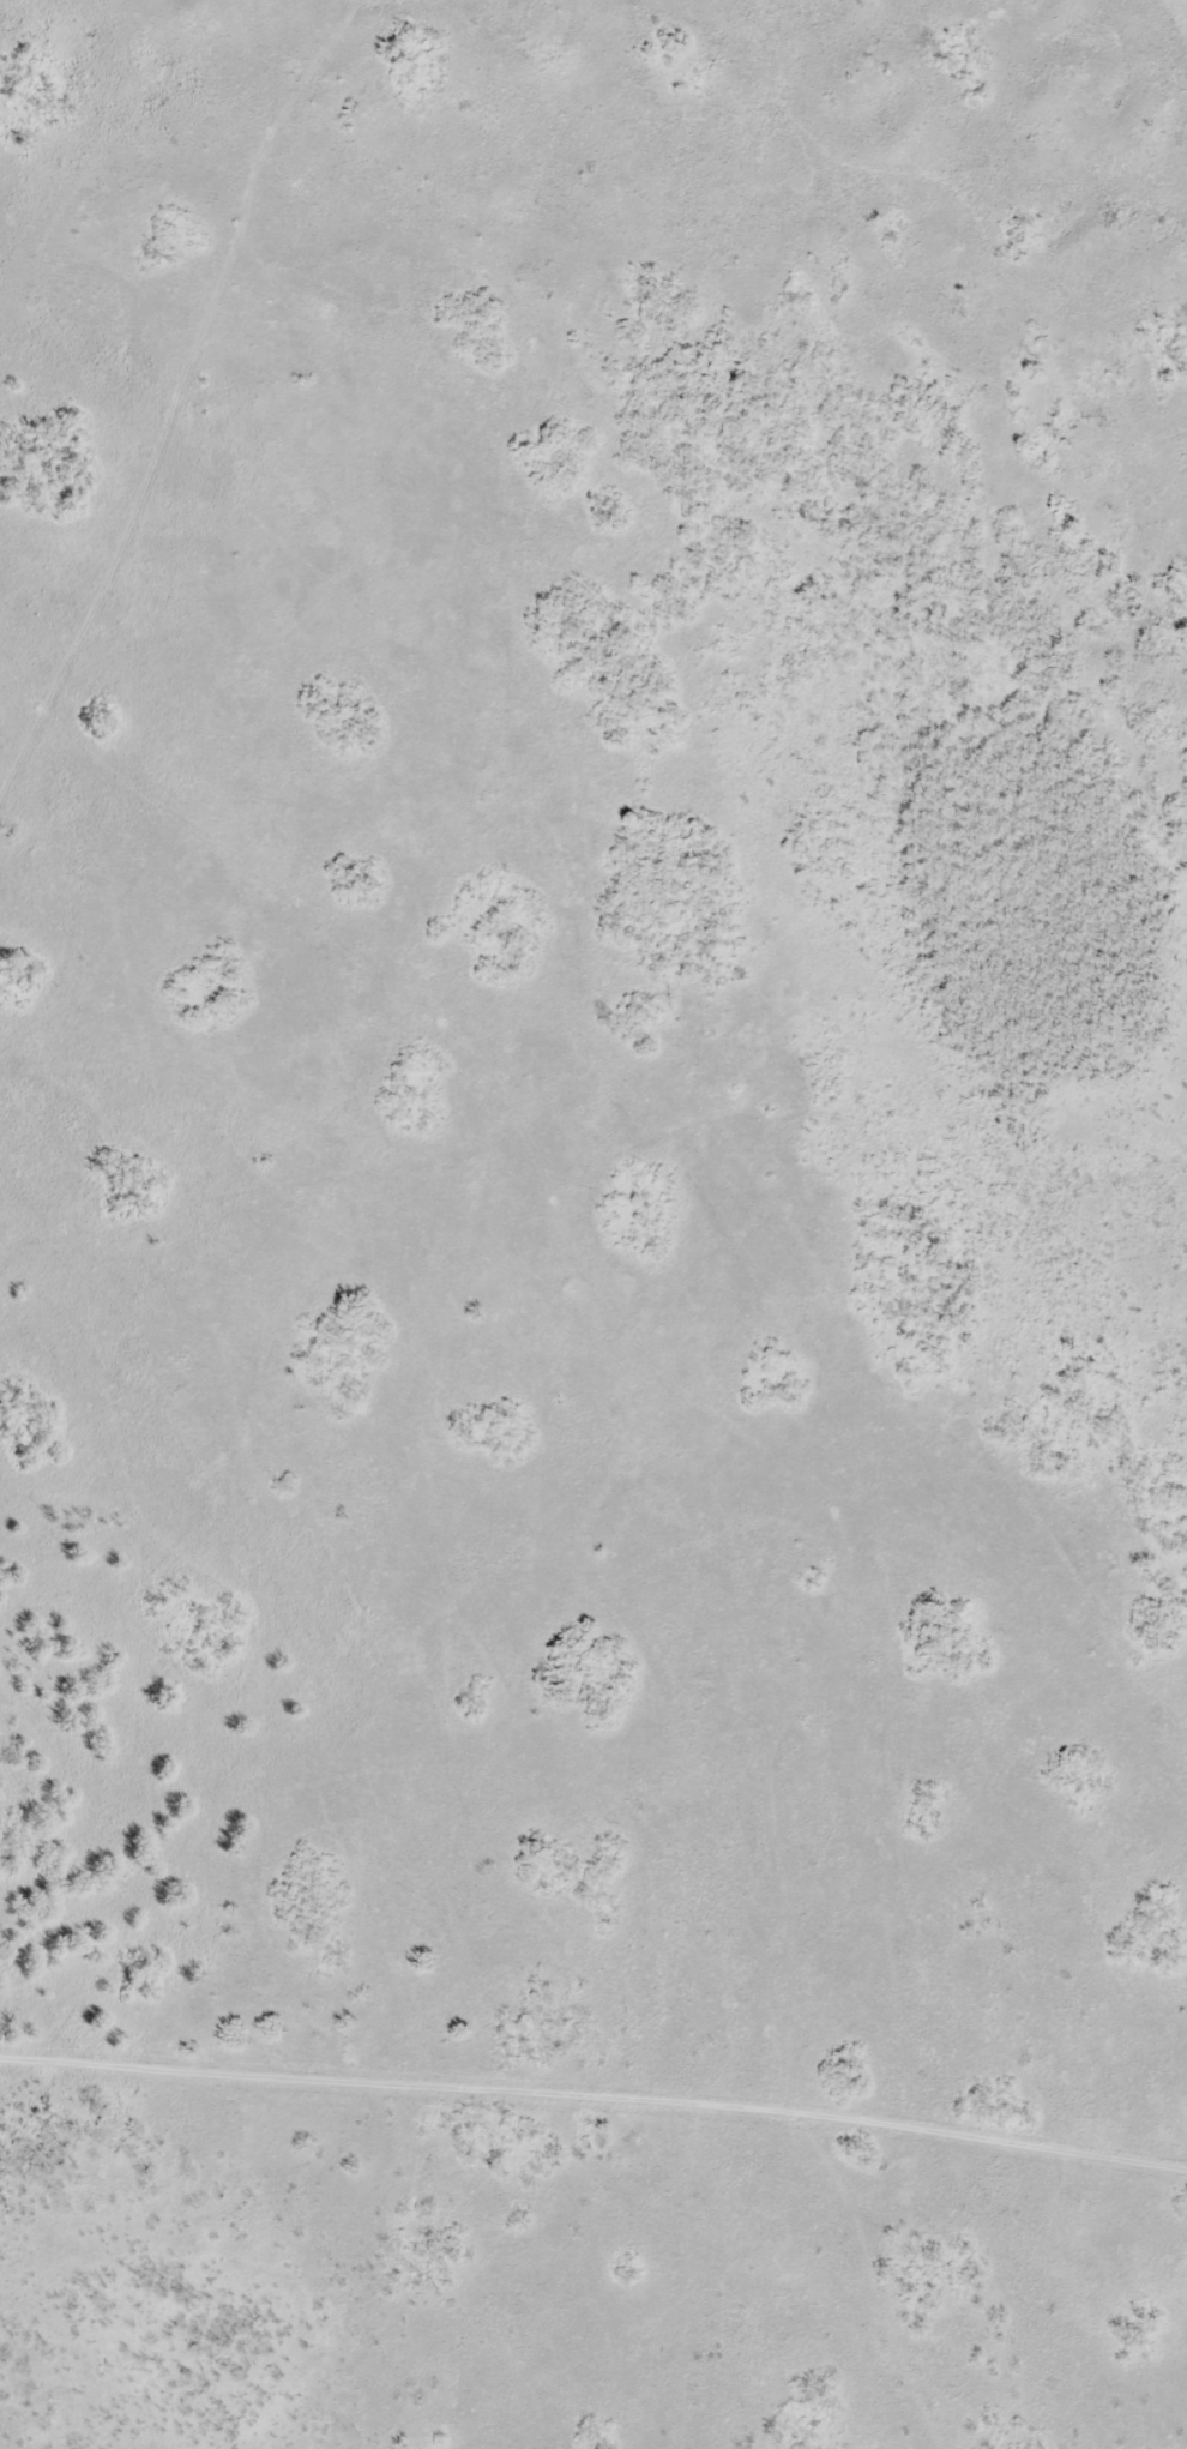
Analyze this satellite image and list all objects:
road: (595, 2076)

